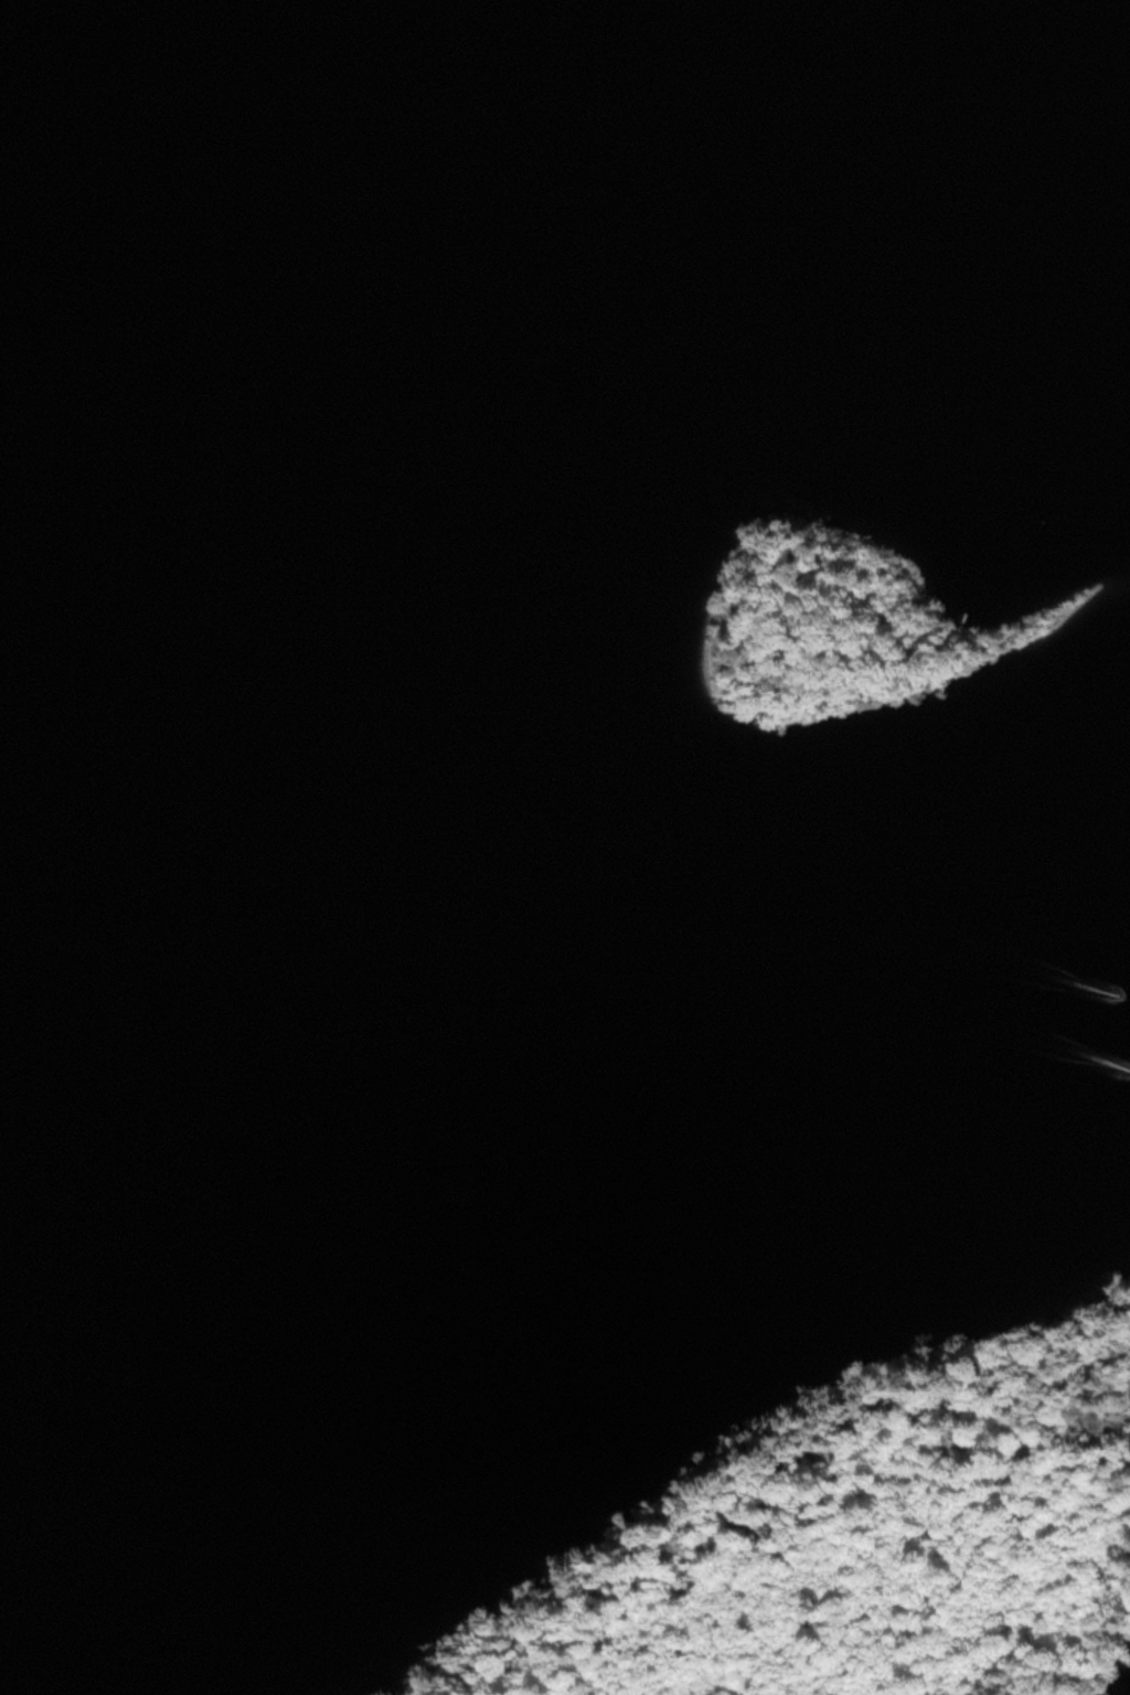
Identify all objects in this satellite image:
park: (835, 628)
park: (871, 1546)

